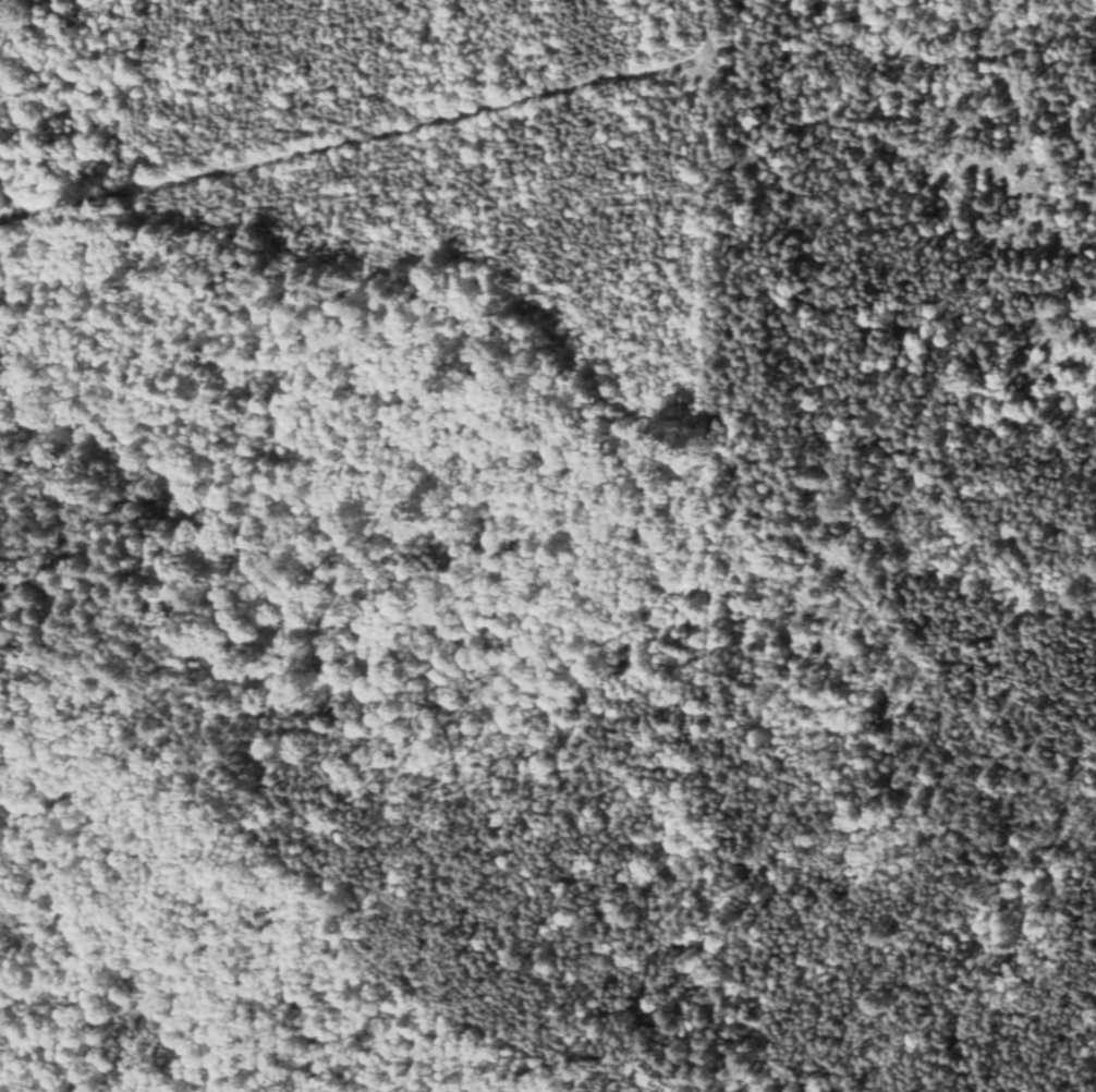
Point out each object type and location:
road: (697, 26)
road: (806, 26)
road: (350, 143)
road: (703, 572)

